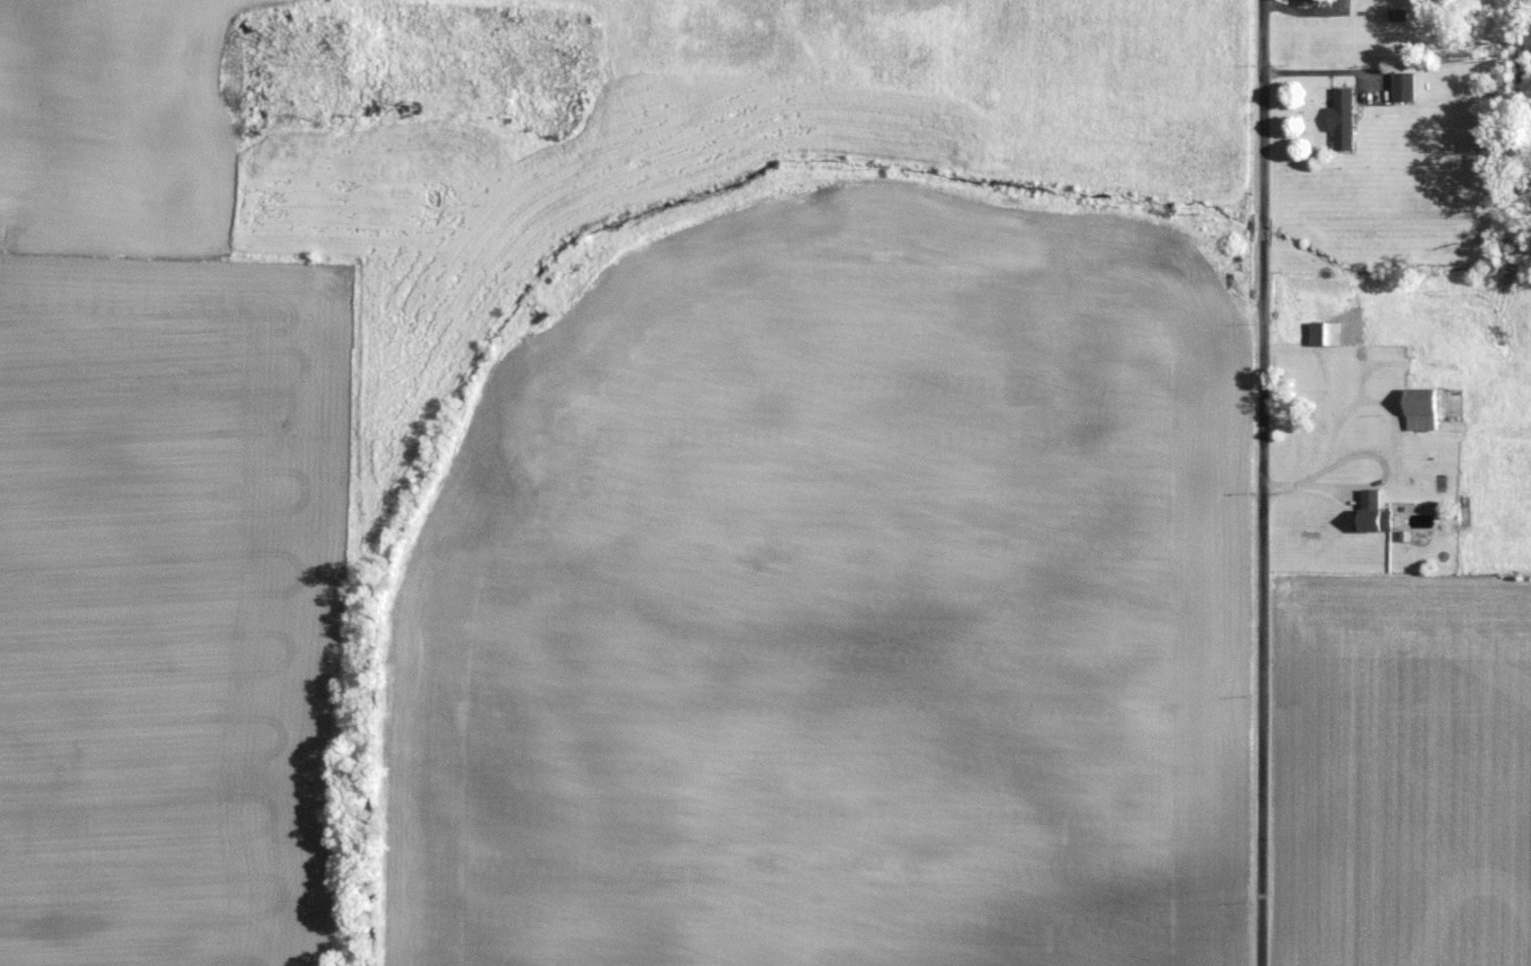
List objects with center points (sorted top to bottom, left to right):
building: (1309, 2)
building: (1399, 14)
building: (1406, 86)
building: (1346, 118)
building: (1320, 333)
building: (1425, 409)
road: (1262, 483)

